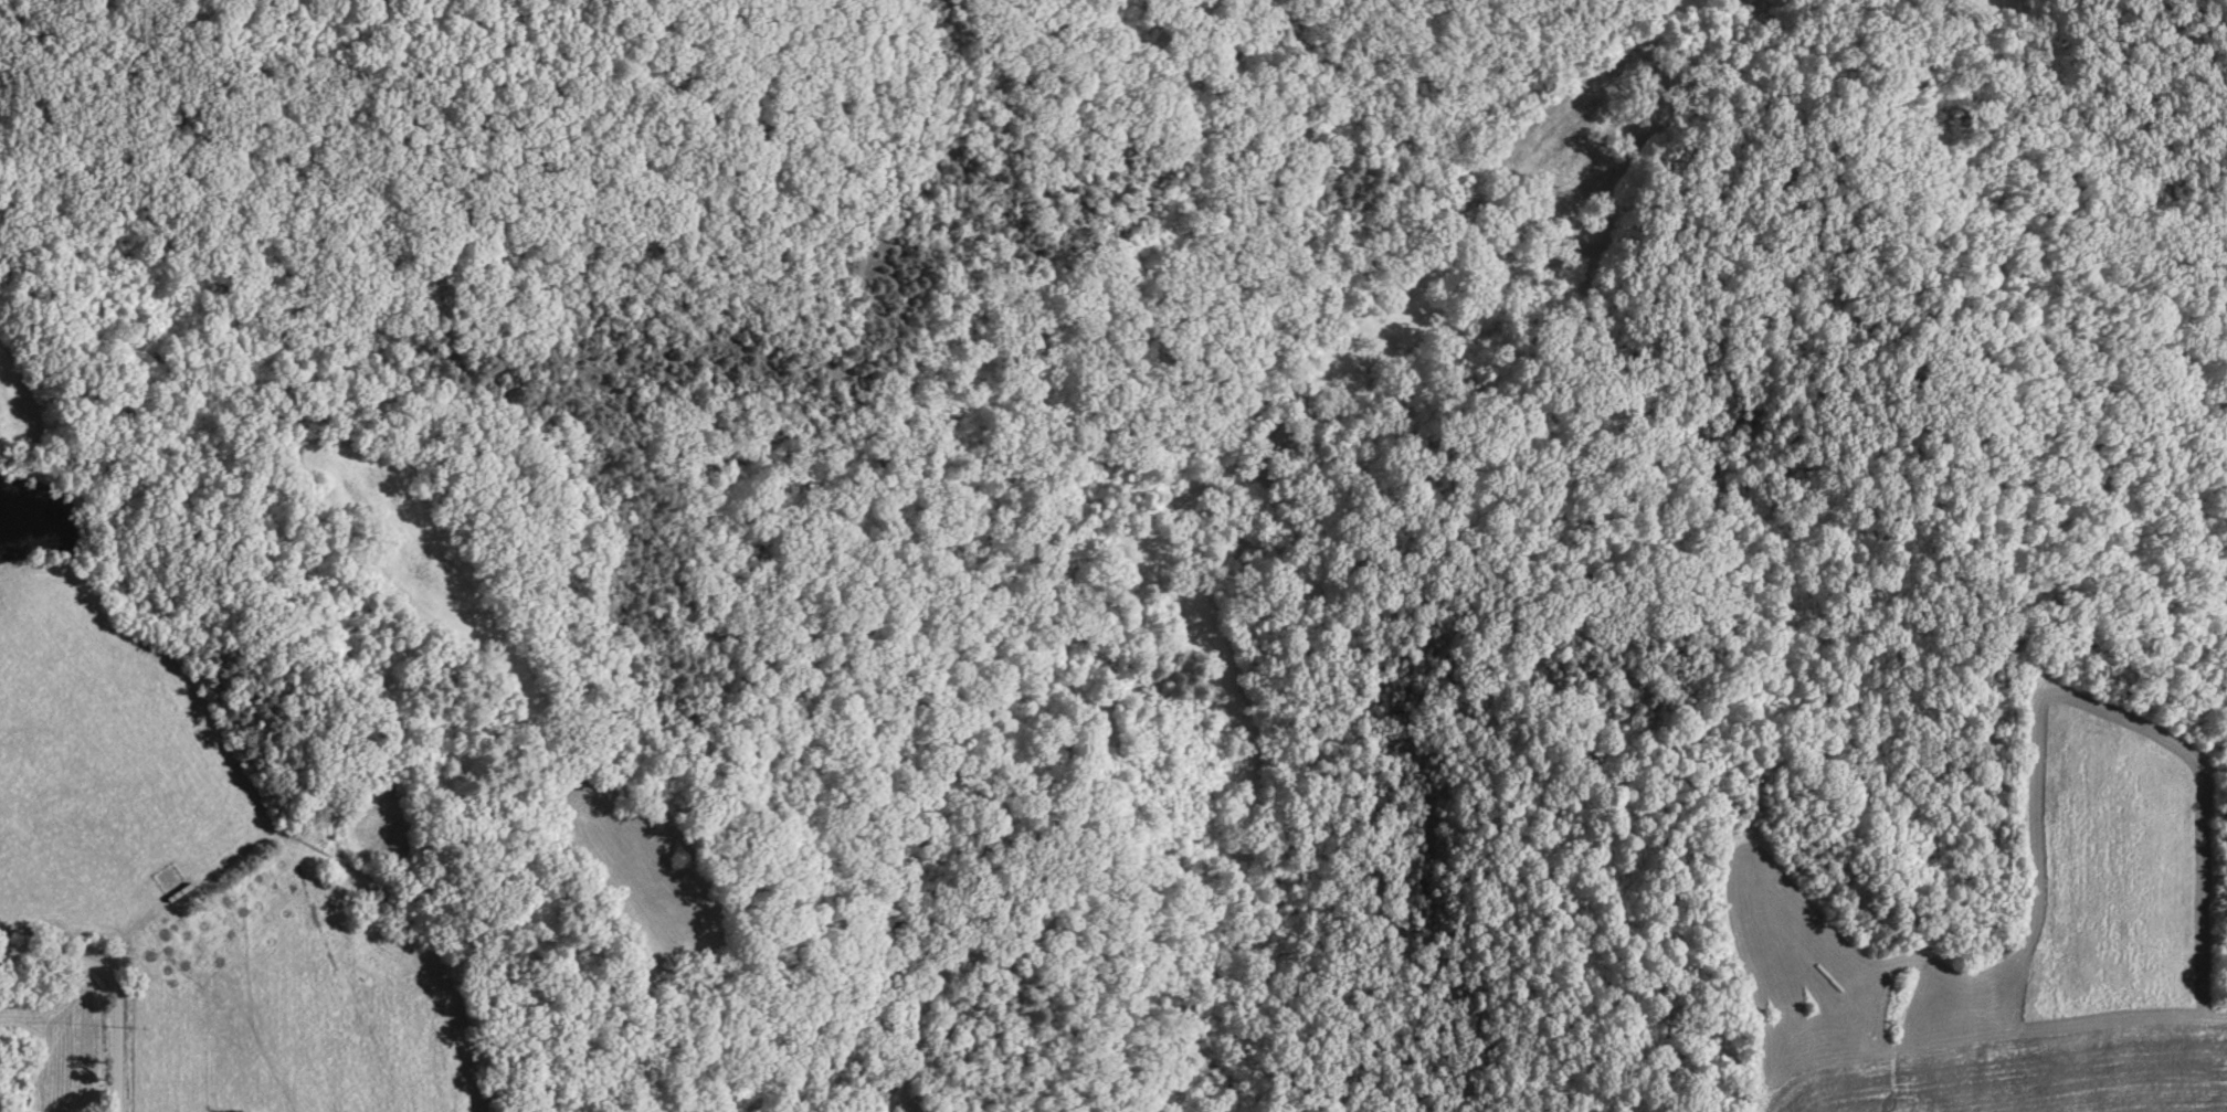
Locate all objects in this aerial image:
road: (119, 983)

